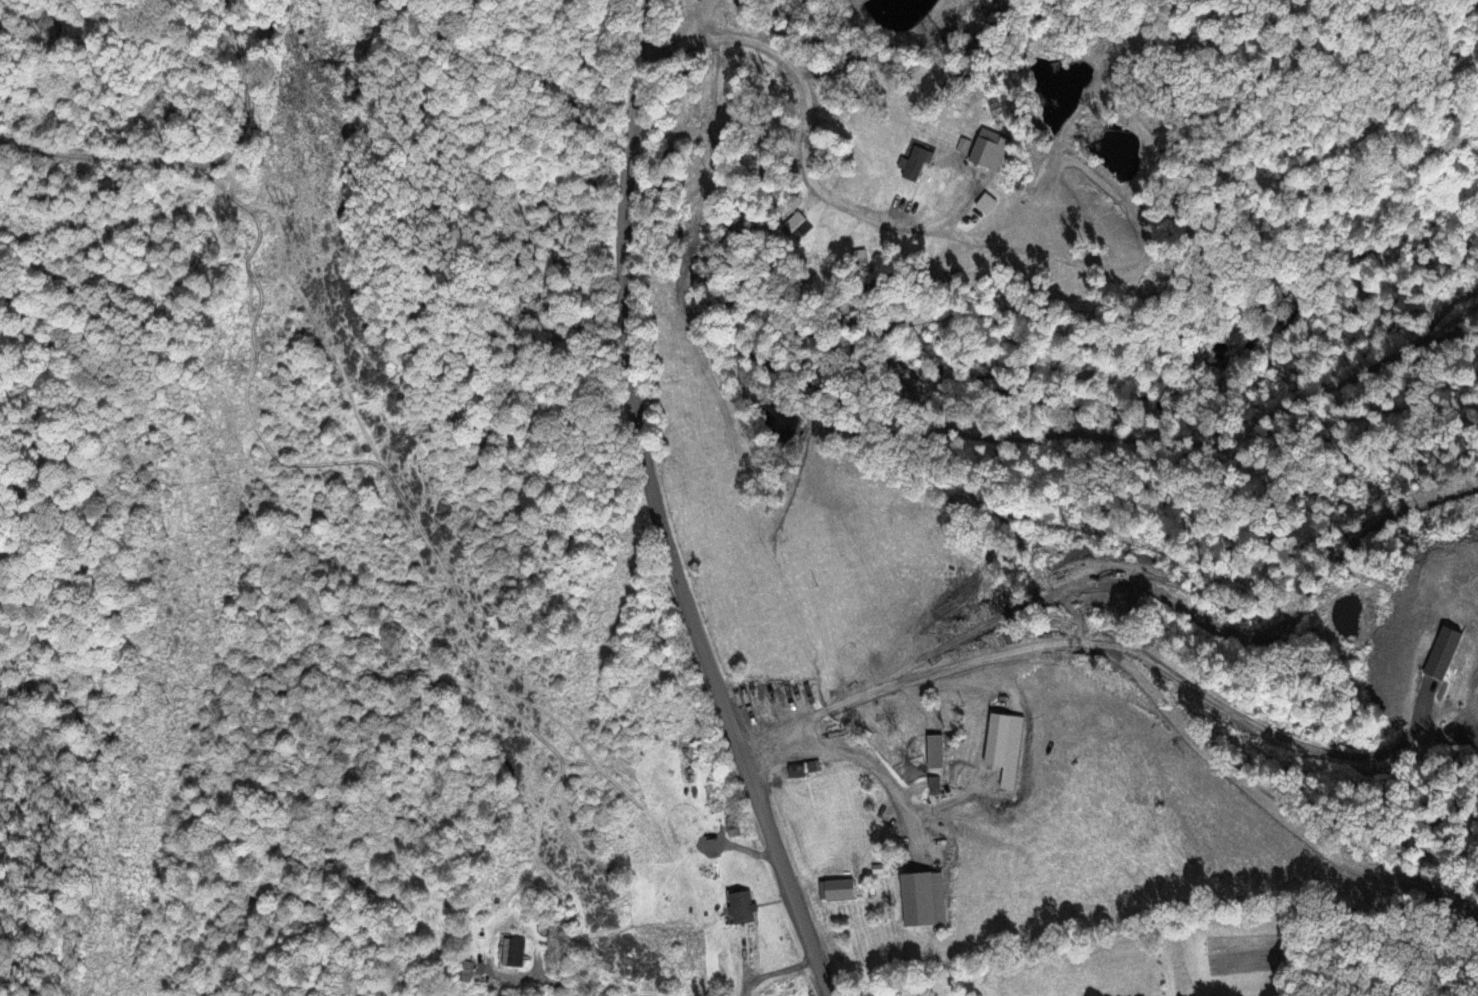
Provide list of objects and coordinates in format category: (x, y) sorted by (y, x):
building: (993, 204)
road: (992, 389)
road: (662, 506)
building: (801, 769)
building: (737, 827)
building: (840, 891)
building: (920, 897)
building: (745, 906)
building: (517, 951)
building: (469, 970)

